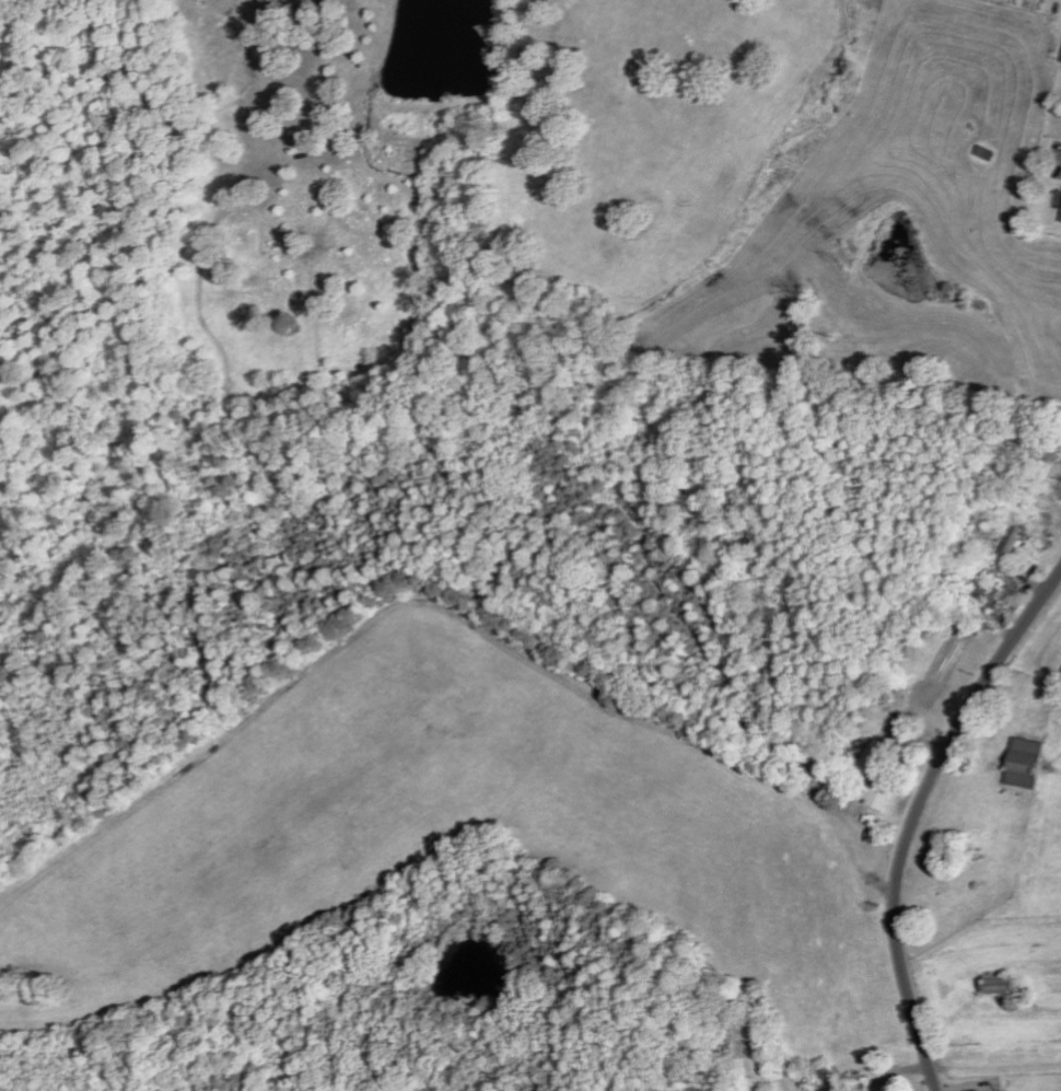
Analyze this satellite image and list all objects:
building: (1060, 61)
building: (872, 754)
building: (1022, 763)
building: (876, 790)
road: (917, 815)

